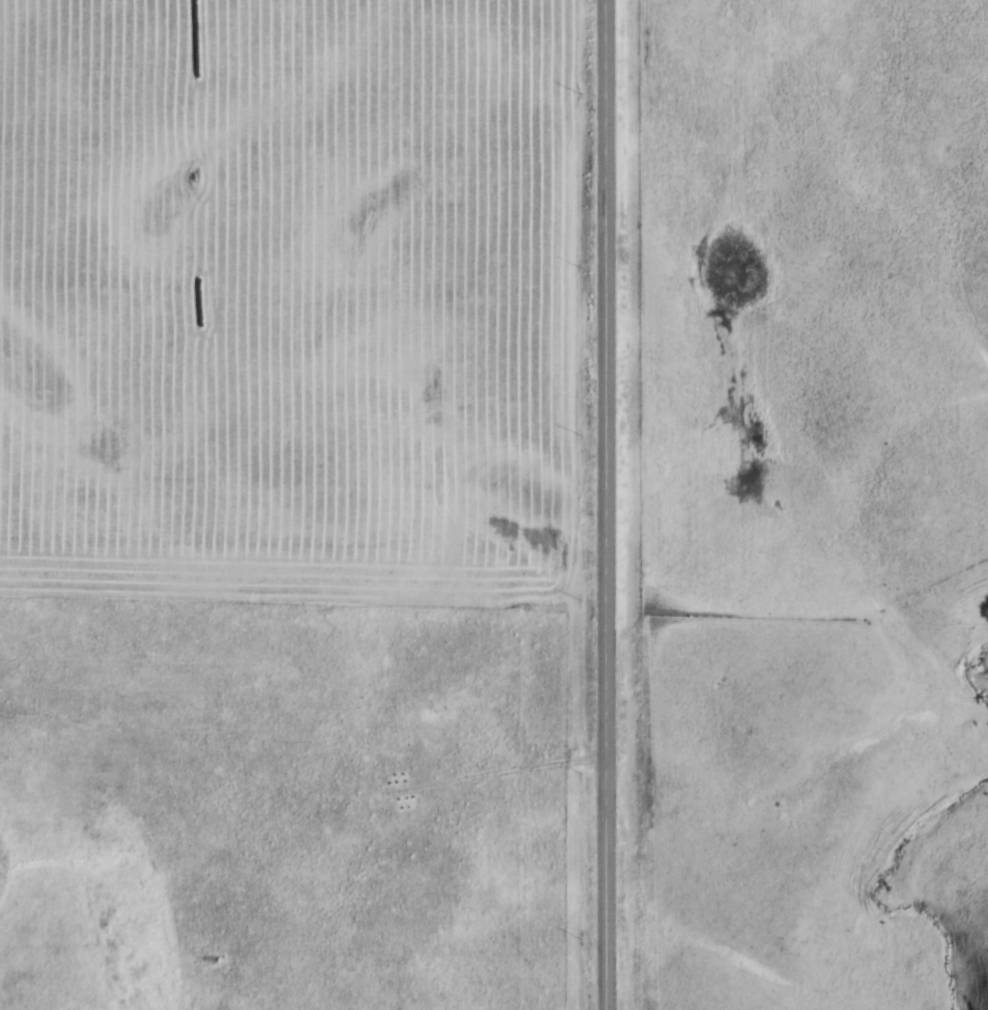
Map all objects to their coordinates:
road: (605, 505)

